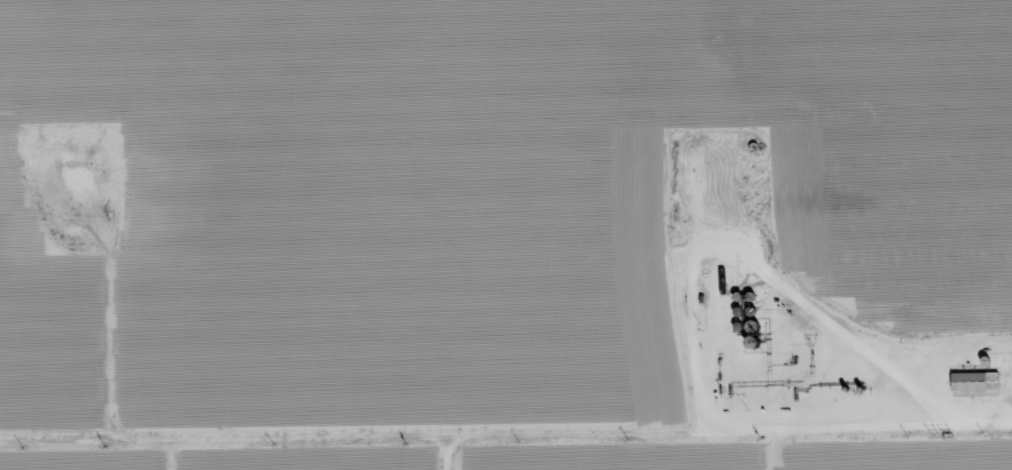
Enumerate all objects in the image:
road: (506, 415)

